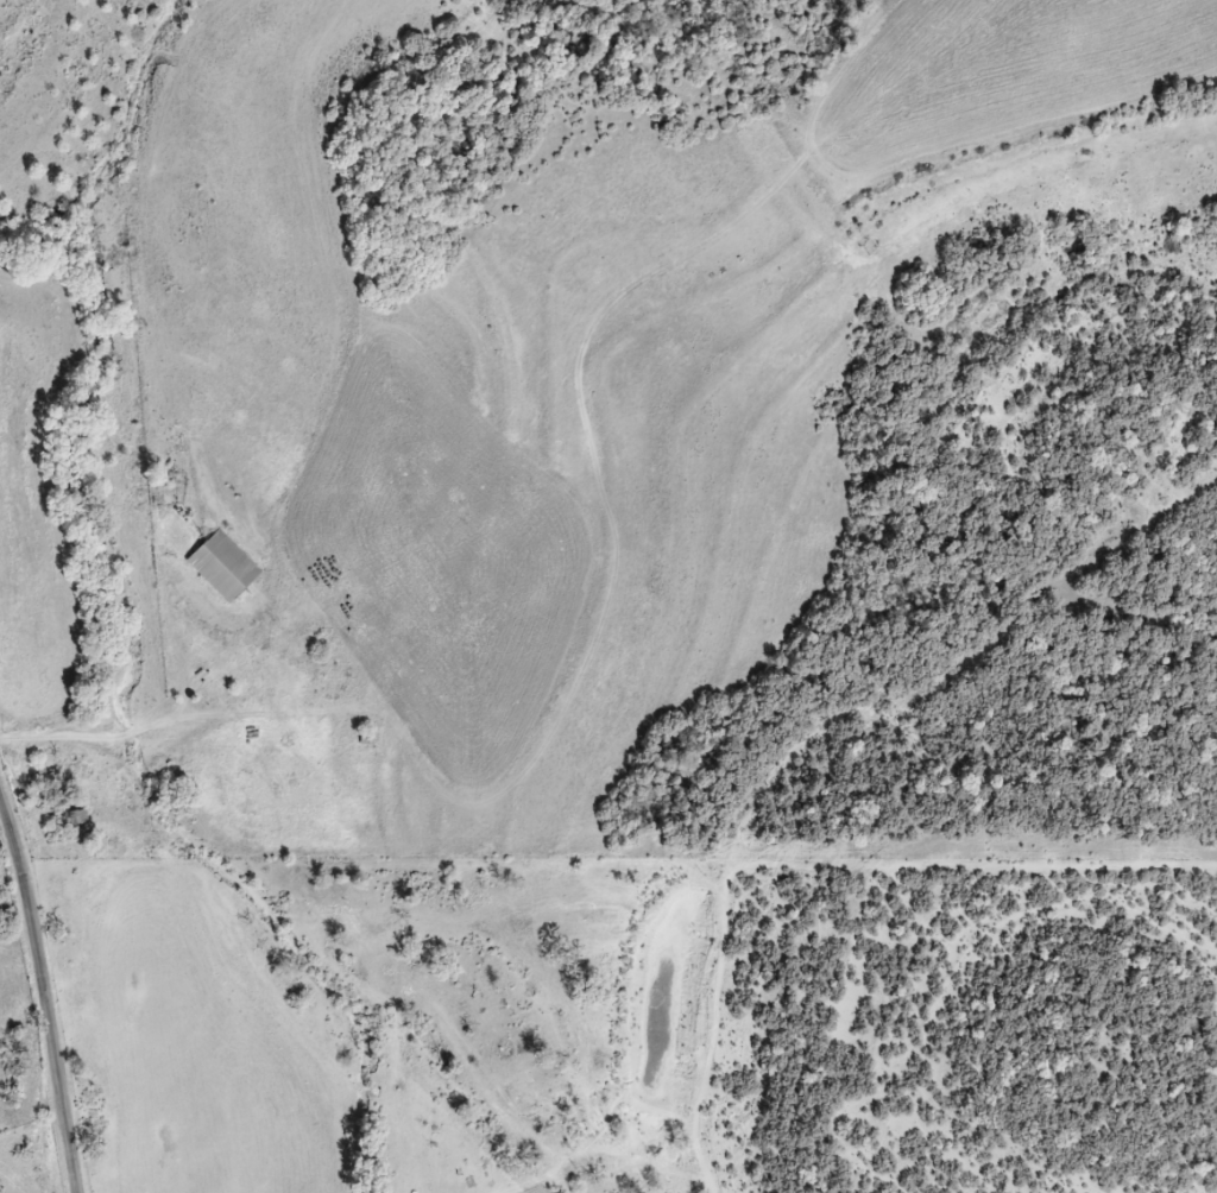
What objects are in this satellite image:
building: (222, 567)
building: (77, 818)
road: (46, 993)

